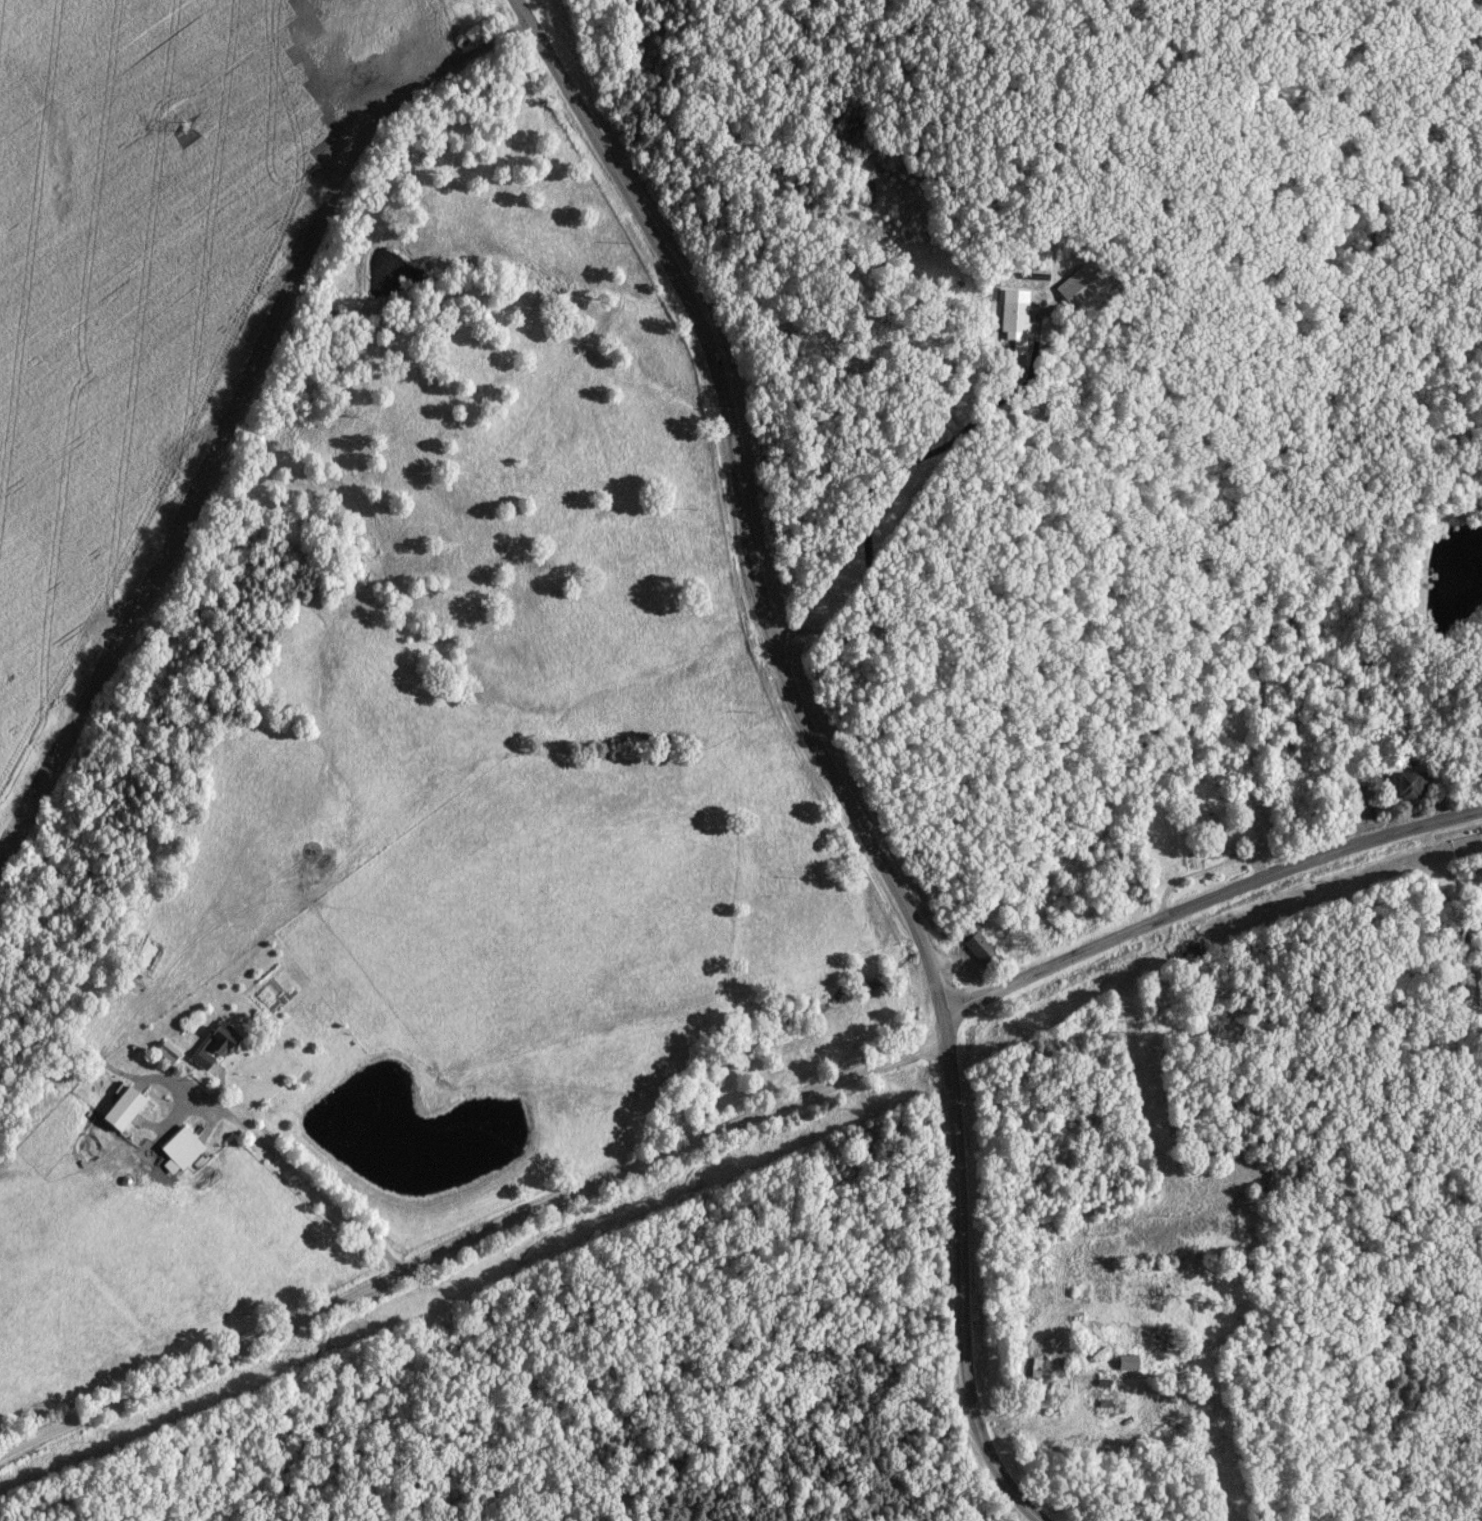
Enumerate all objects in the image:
power tower: (184, 128)
building: (1081, 287)
building: (1018, 319)
road: (899, 485)
road: (822, 750)
building: (1413, 785)
building: (1364, 800)
building: (1215, 838)
road: (1211, 906)
building: (1114, 907)
building: (981, 949)
building: (218, 1048)
building: (126, 1110)
road: (141, 1113)
building: (184, 1148)
road: (307, 1178)
road: (474, 1244)
building: (1131, 1363)
building: (1041, 1370)

